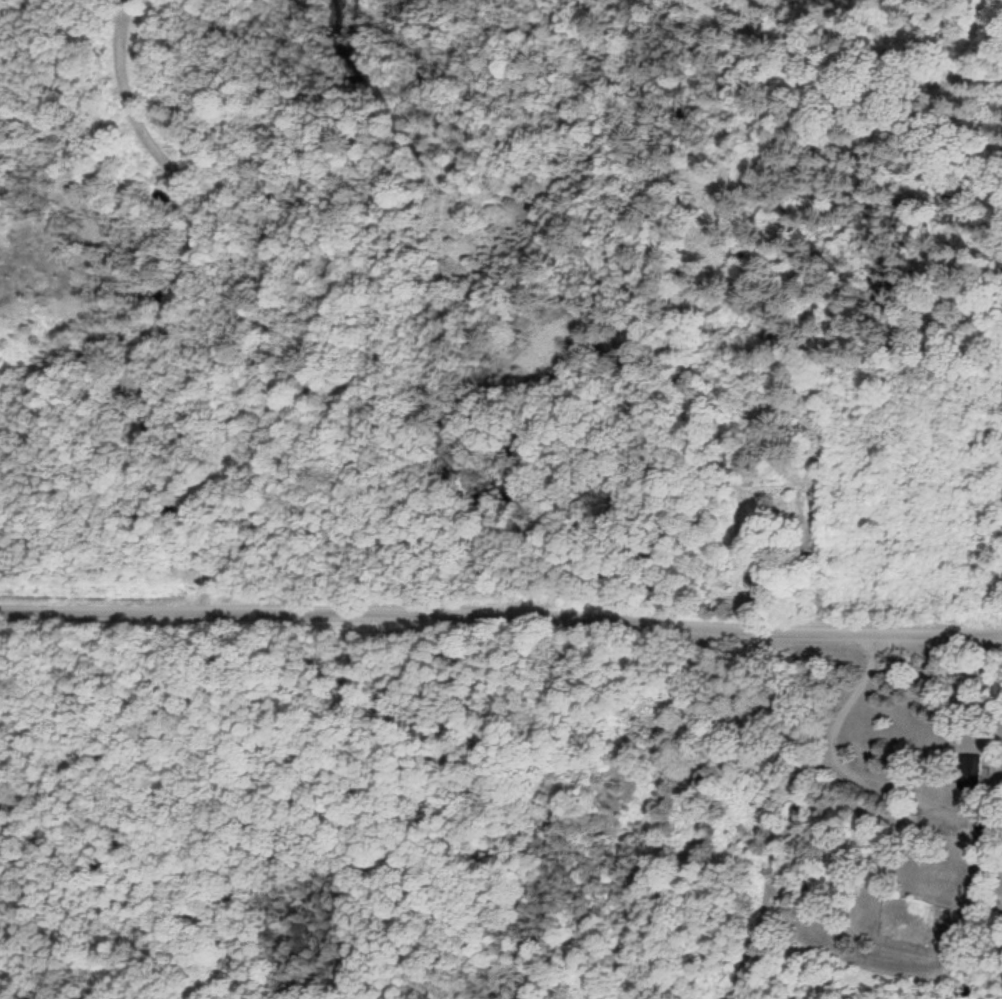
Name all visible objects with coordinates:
road: (501, 596)
building: (970, 778)
building: (987, 823)

